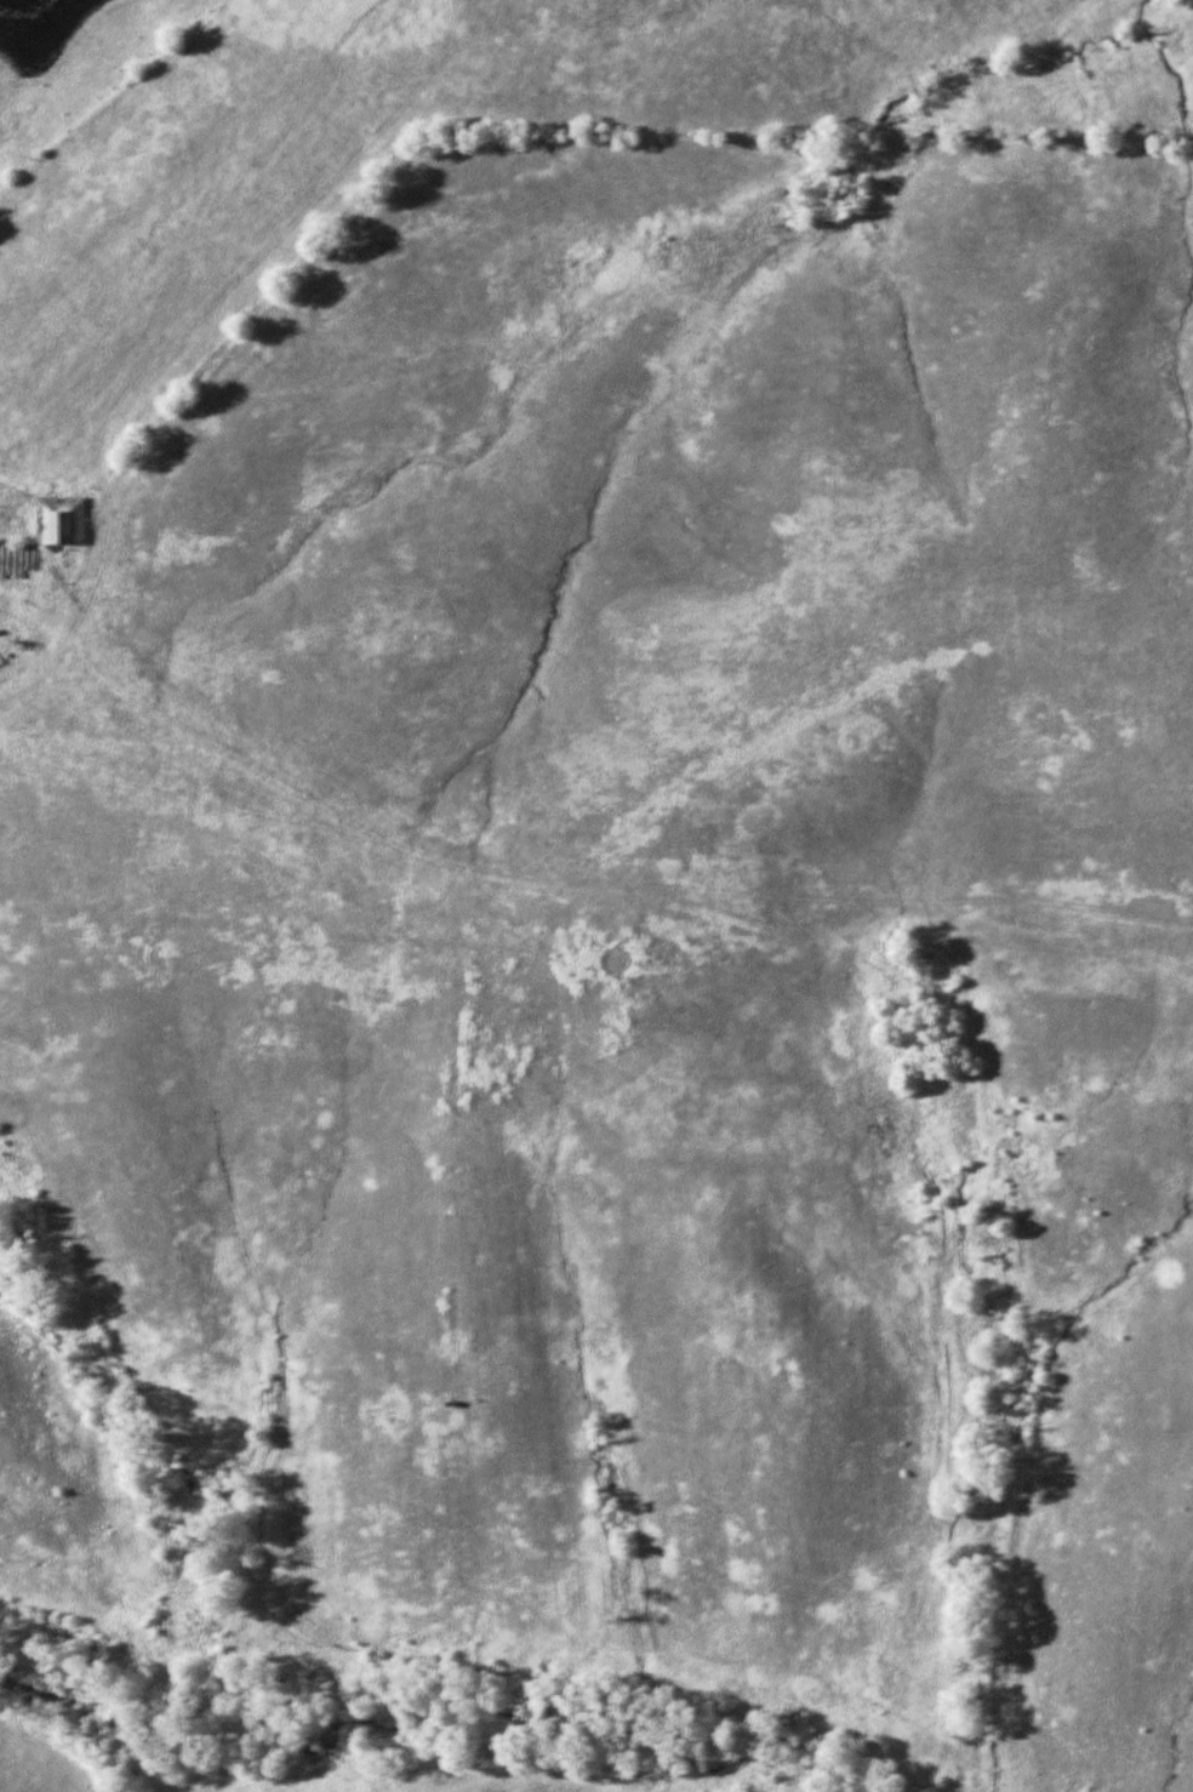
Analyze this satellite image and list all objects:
building: (59, 521)

